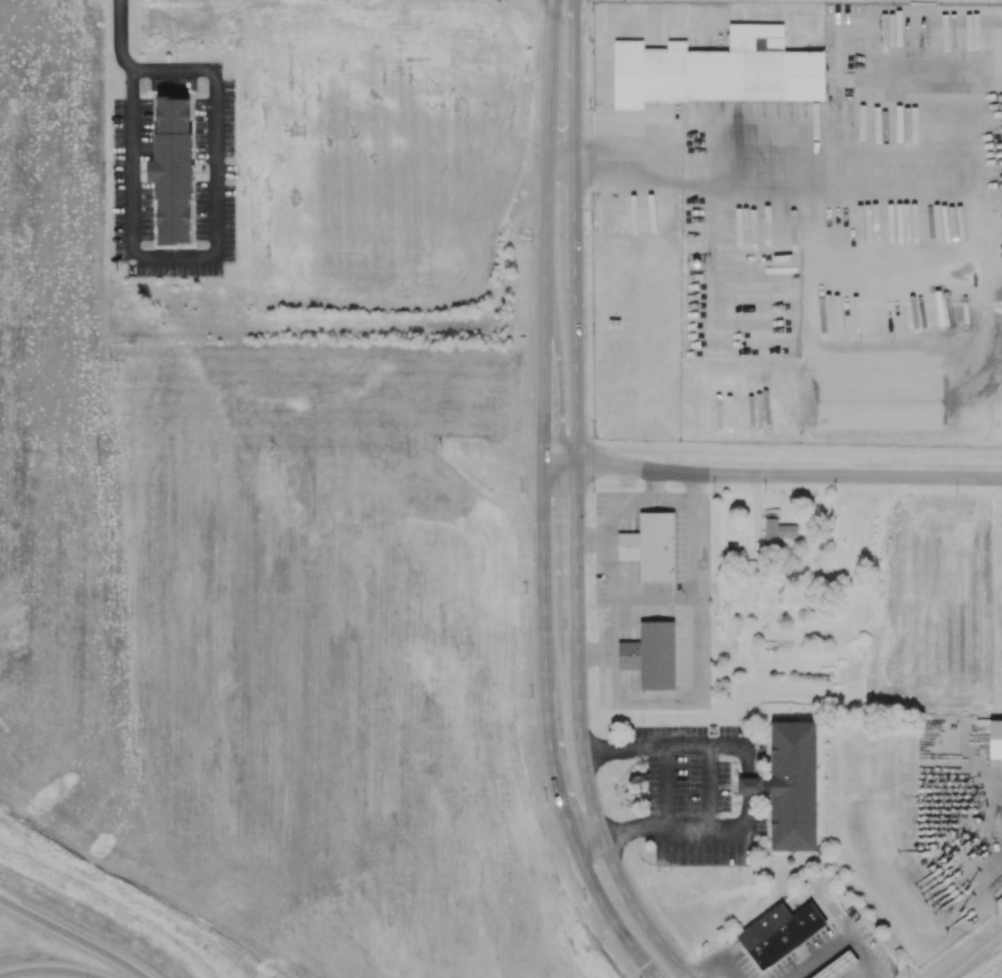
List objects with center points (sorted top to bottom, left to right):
road: (604, 32)
road: (120, 36)
building: (716, 70)
road: (695, 139)
road: (561, 154)
building: (693, 166)
parking lot: (174, 170)
building: (174, 171)
road: (212, 254)
road: (573, 270)
road: (773, 476)
road: (546, 501)
road: (675, 503)
road: (593, 540)
road: (611, 541)
building: (651, 548)
road: (577, 598)
building: (652, 657)
road: (695, 671)
building: (996, 740)
road: (668, 748)
road: (724, 748)
road: (603, 751)
parking lot: (696, 773)
road: (749, 778)
building: (755, 787)
road: (668, 788)
road: (712, 788)
building: (795, 788)
road: (599, 827)
road: (711, 828)
road: (621, 834)
parking lot: (702, 846)
road: (825, 896)
building: (765, 928)
road: (83, 931)
street lamp: (110, 936)
building: (786, 938)
parking lot: (811, 952)
road: (732, 953)
road: (867, 953)
road: (822, 955)
road: (974, 956)
building: (840, 967)
road: (714, 970)
road: (730, 970)
road: (881, 976)

